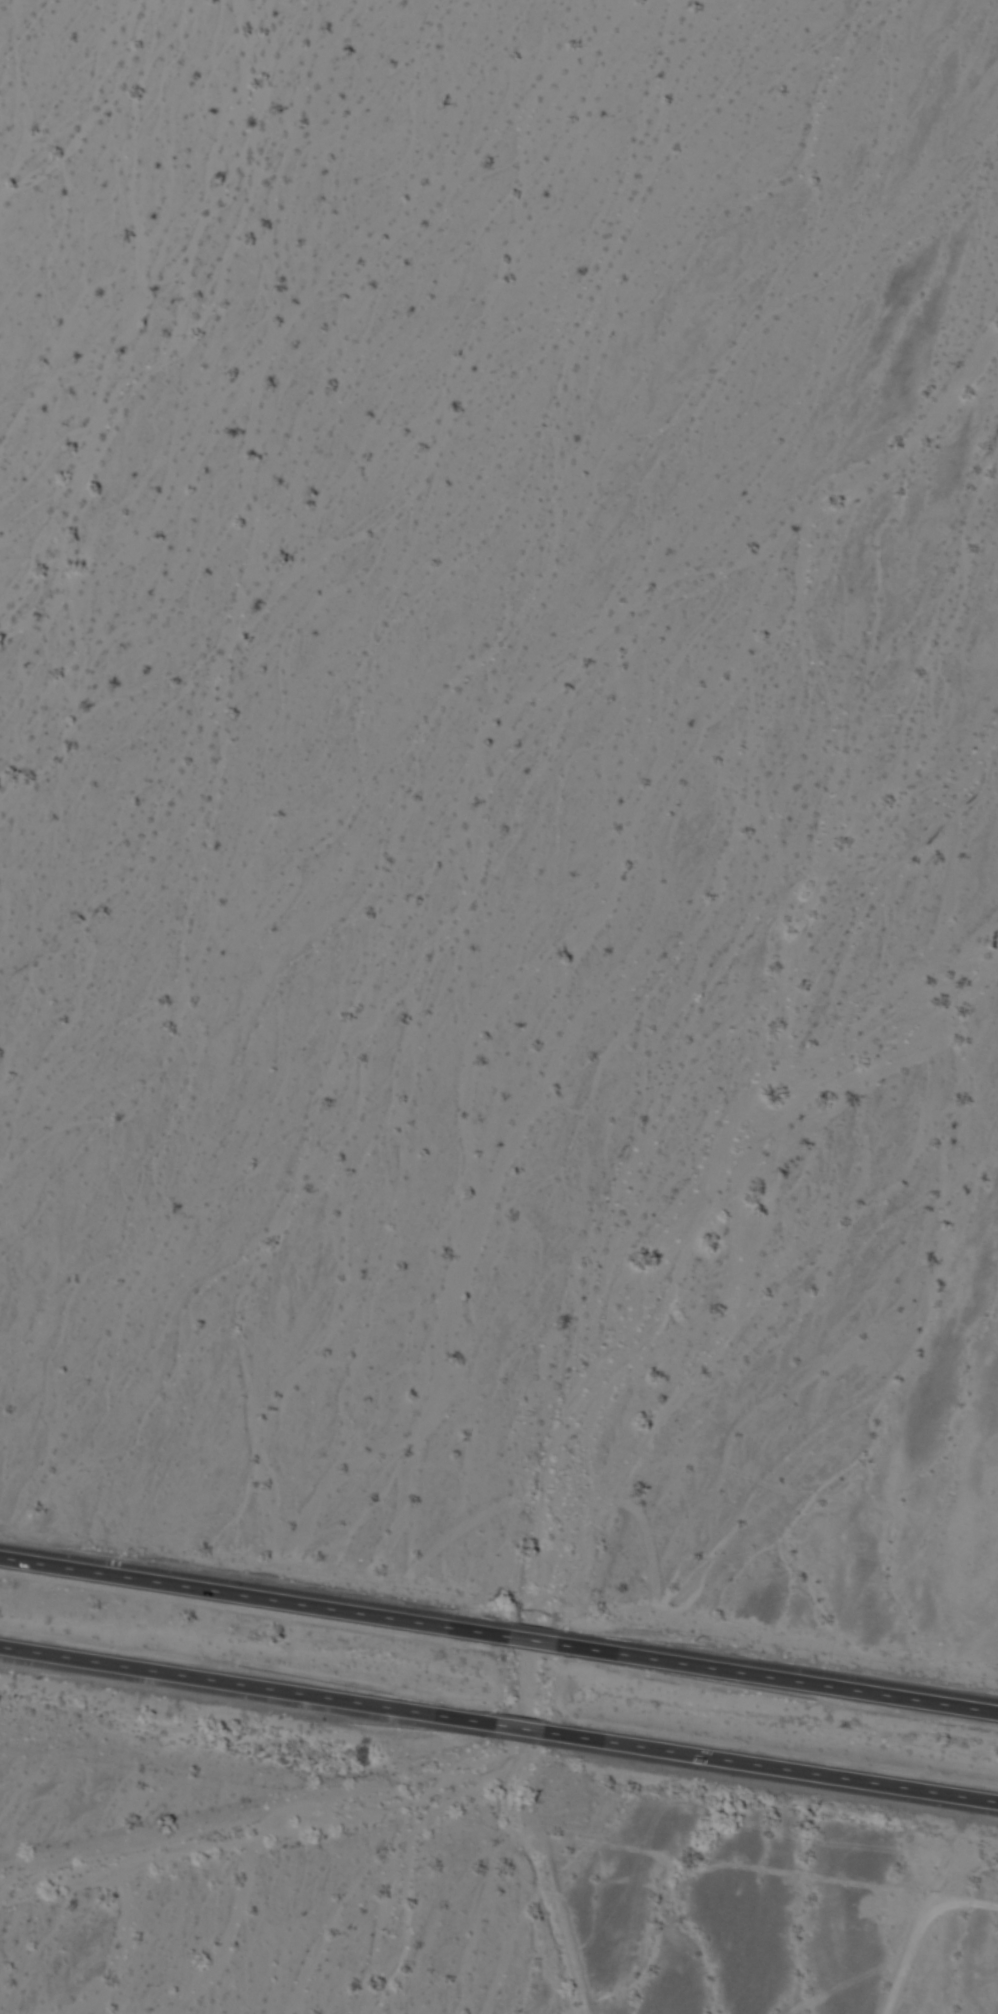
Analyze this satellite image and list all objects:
road: (499, 1629)
road: (499, 1728)

